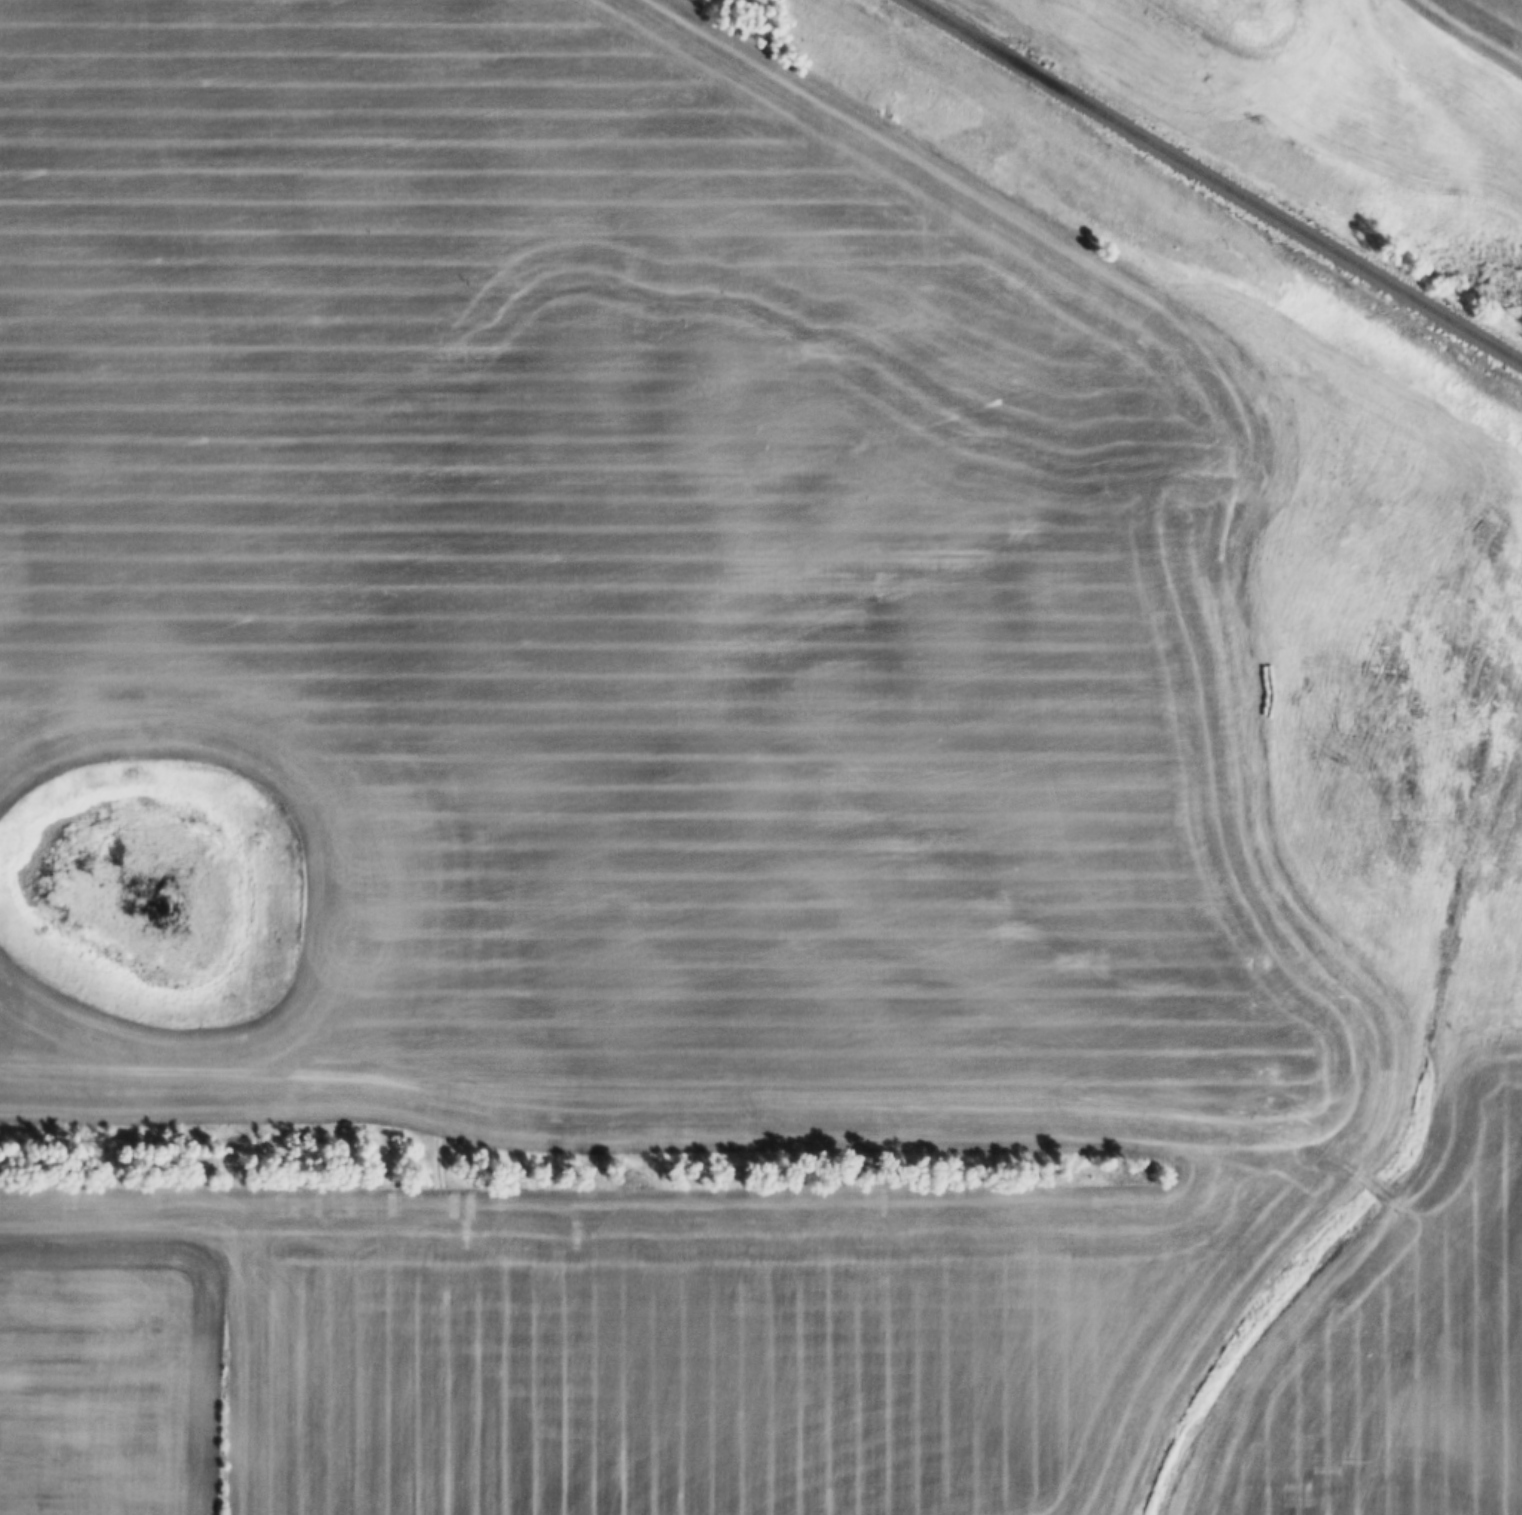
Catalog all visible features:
railway: (1217, 183)

